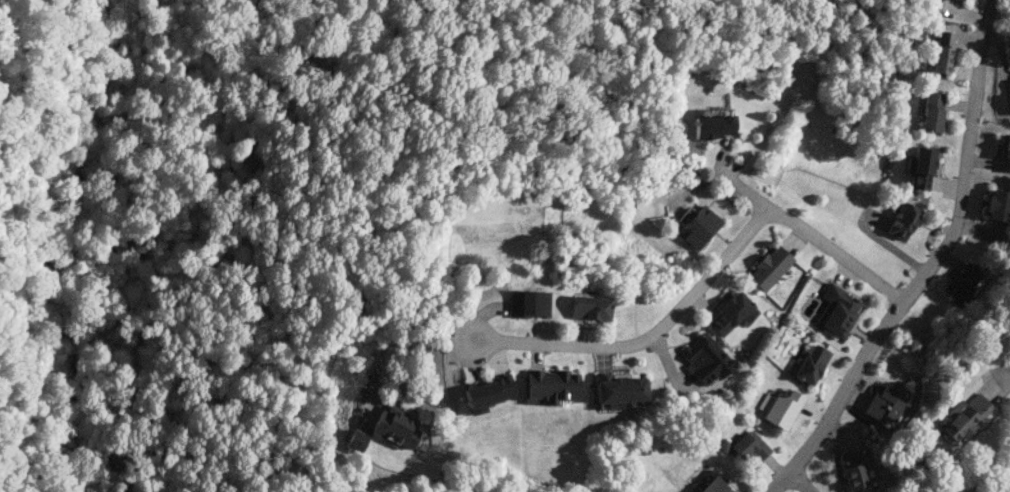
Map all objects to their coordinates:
building: (961, 0)
building: (940, 51)
building: (931, 112)
building: (711, 126)
building: (1005, 148)
building: (919, 167)
building: (997, 205)
building: (903, 221)
building: (699, 227)
road: (929, 265)
building: (768, 267)
building: (962, 280)
road: (698, 284)
building: (529, 303)
building: (590, 307)
building: (836, 311)
building: (732, 313)
building: (705, 359)
building: (811, 364)
road: (1009, 383)
building: (551, 385)
building: (618, 390)
building: (487, 393)
building: (886, 403)
building: (778, 407)
building: (965, 416)
building: (395, 426)
building: (356, 441)
building: (749, 446)
building: (852, 469)
road: (800, 480)
building: (708, 483)

